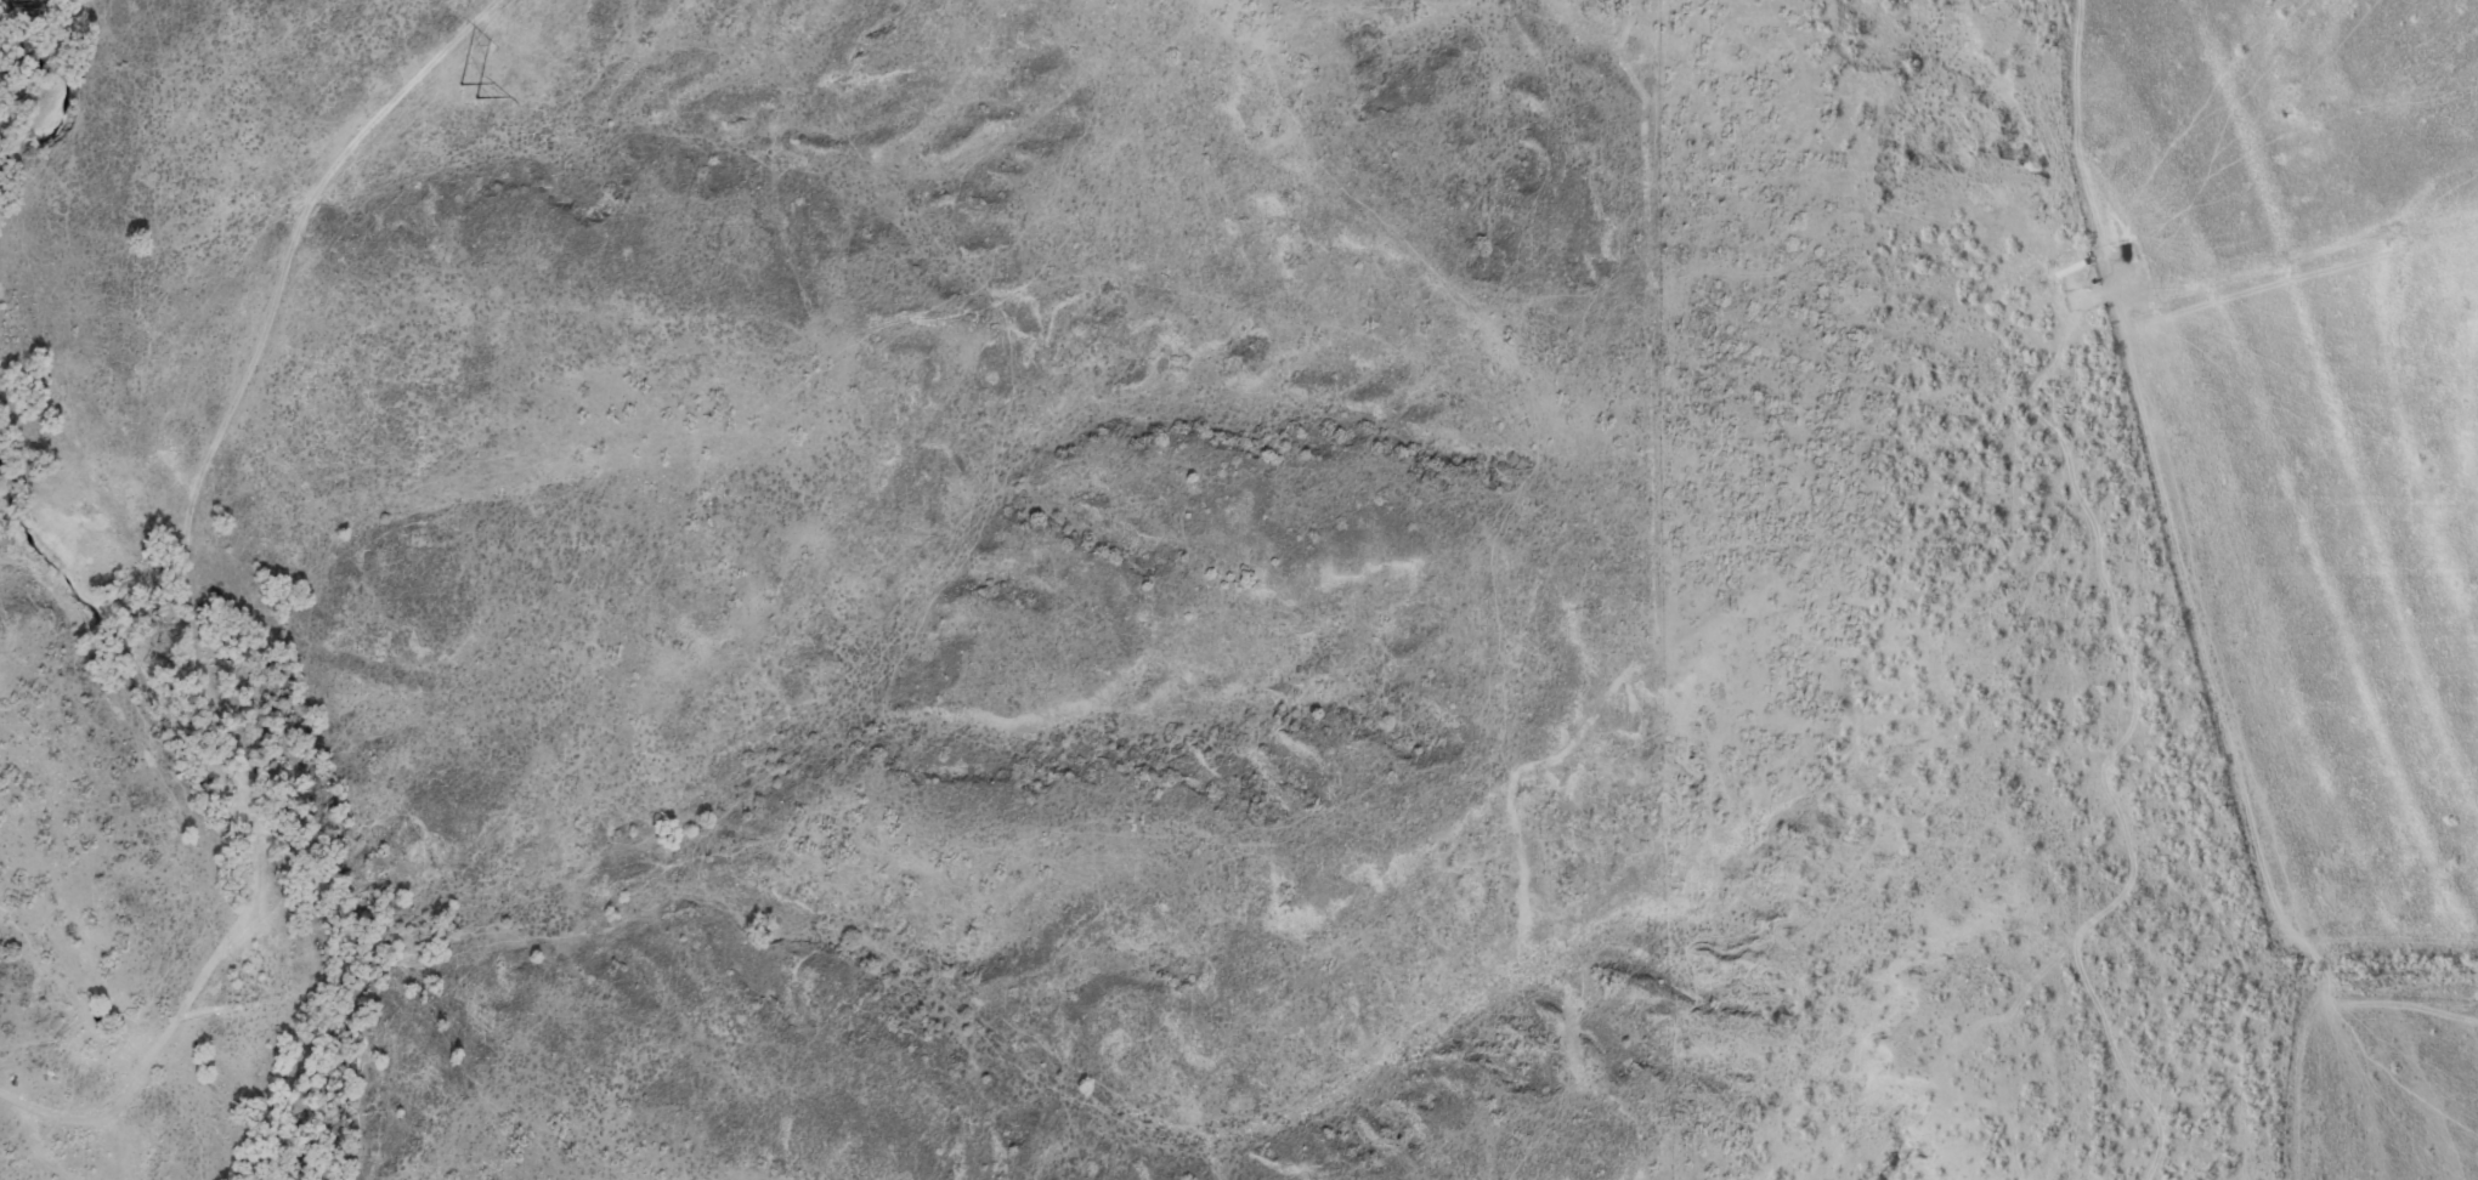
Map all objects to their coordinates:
power tower: (466, 91)

